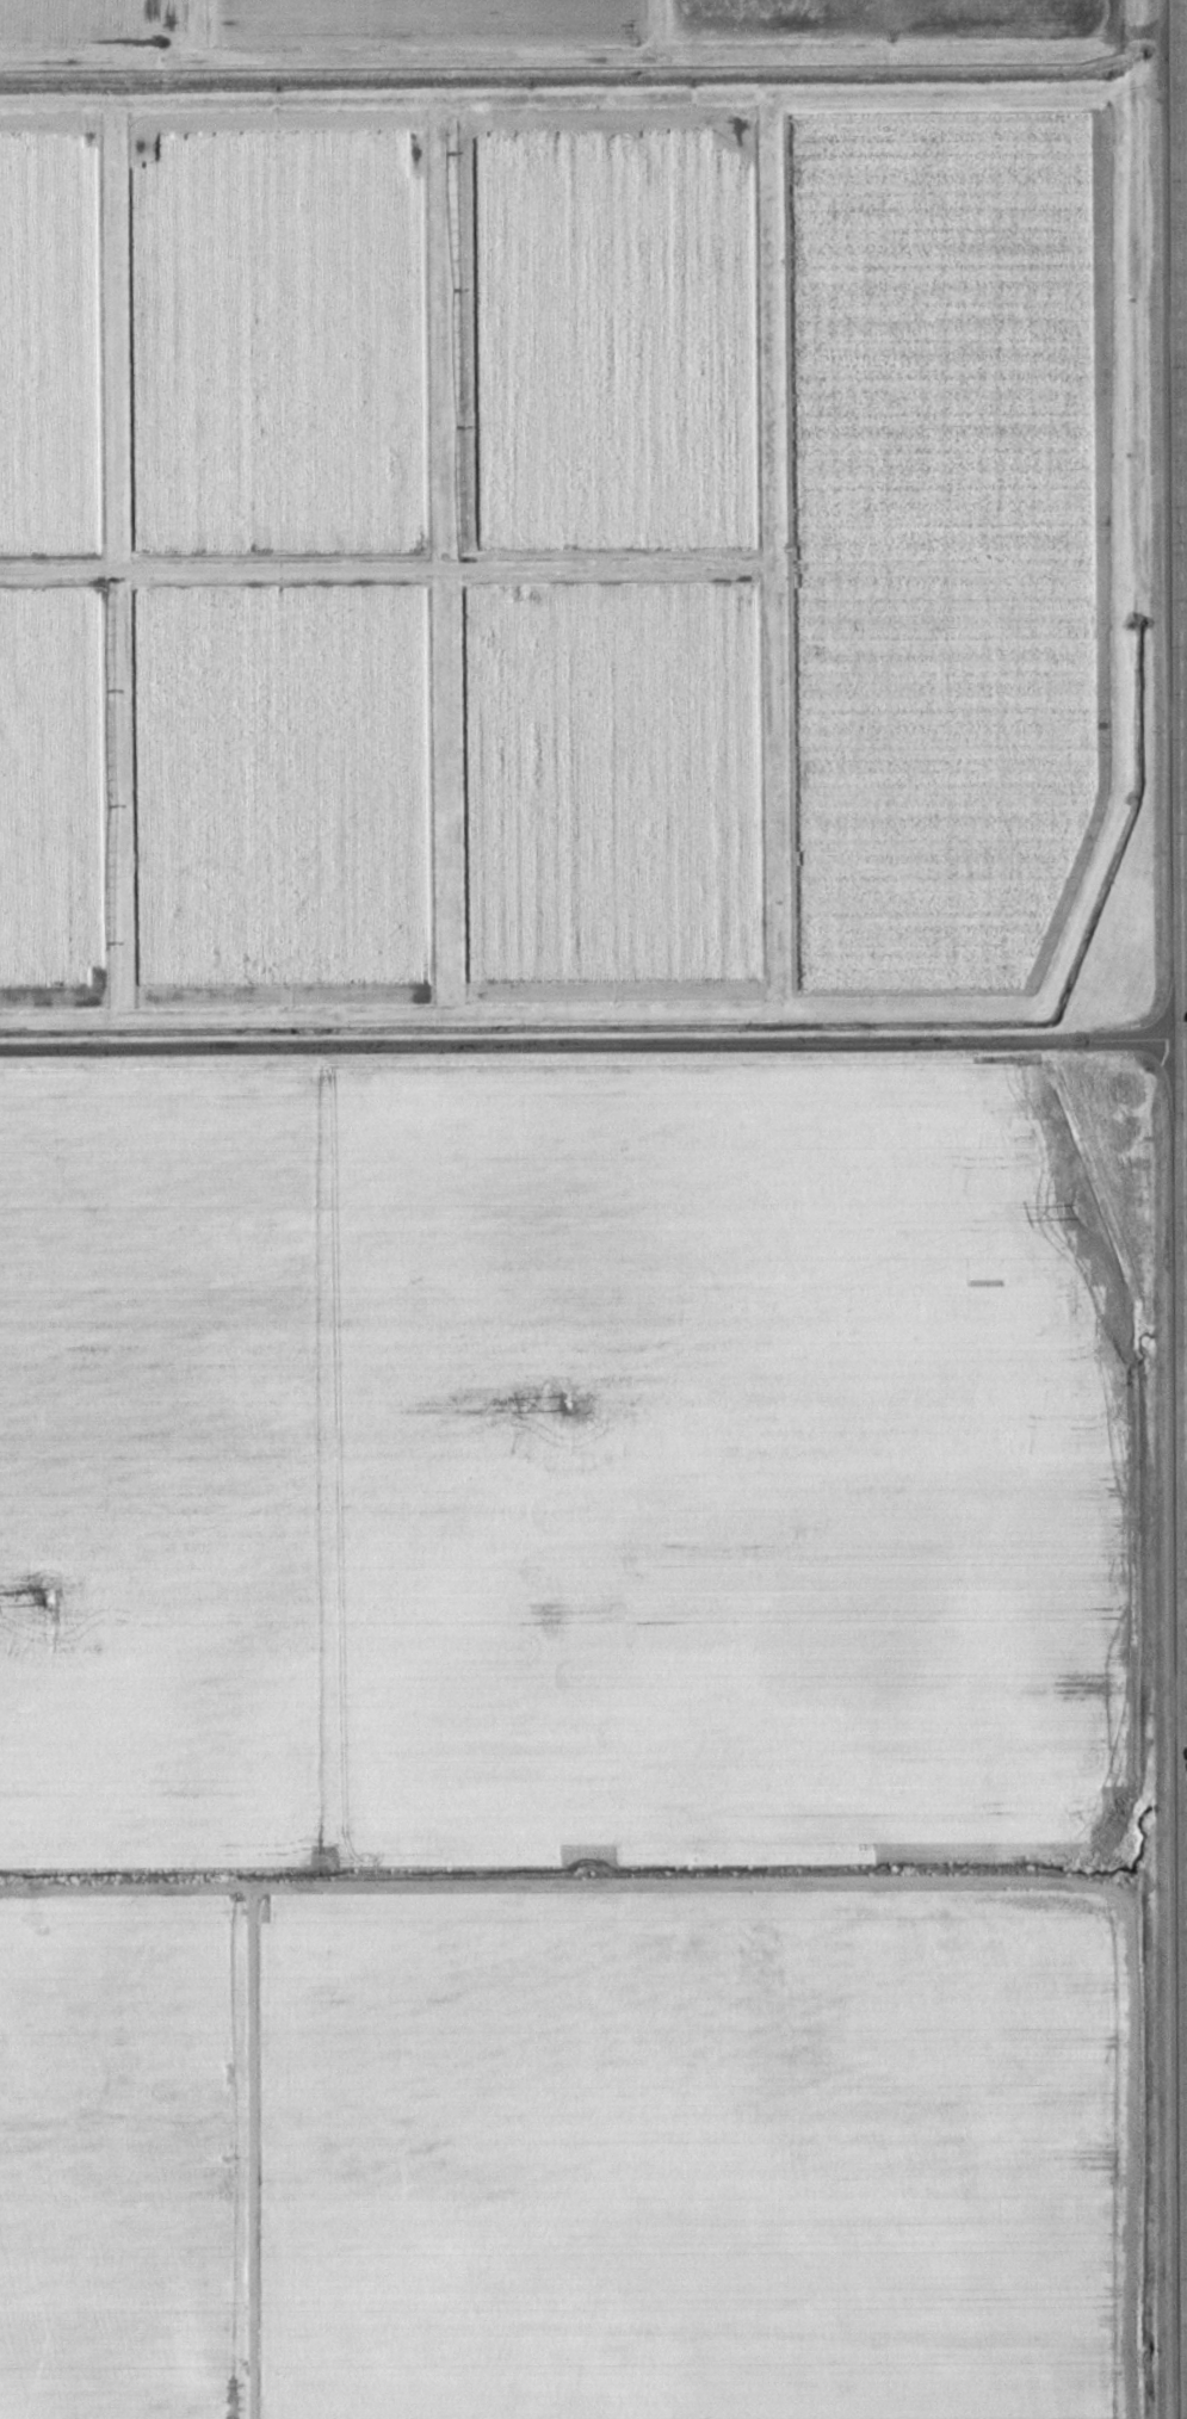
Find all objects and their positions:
road: (593, 1043)
power tower: (1077, 1205)
road: (1181, 1208)
power tower: (567, 1400)
power tower: (48, 1596)
road: (601, 2324)

